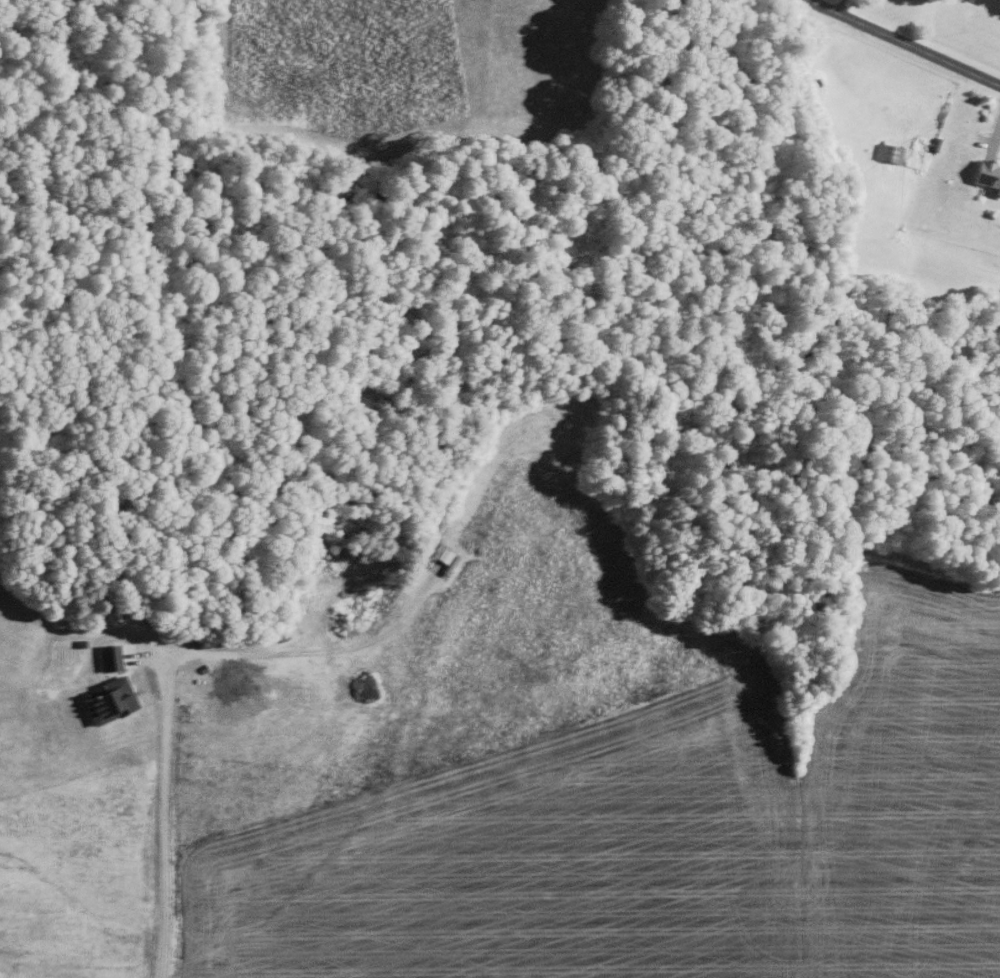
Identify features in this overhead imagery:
road: (904, 40)
building: (886, 152)
building: (986, 174)
road: (162, 832)

